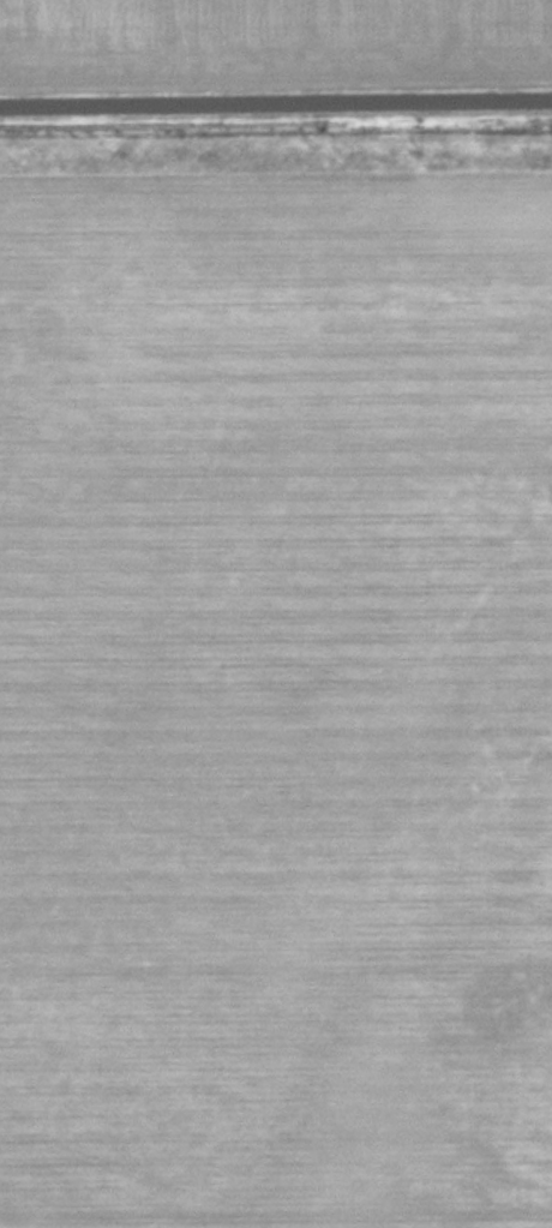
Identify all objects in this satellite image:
road: (276, 104)

